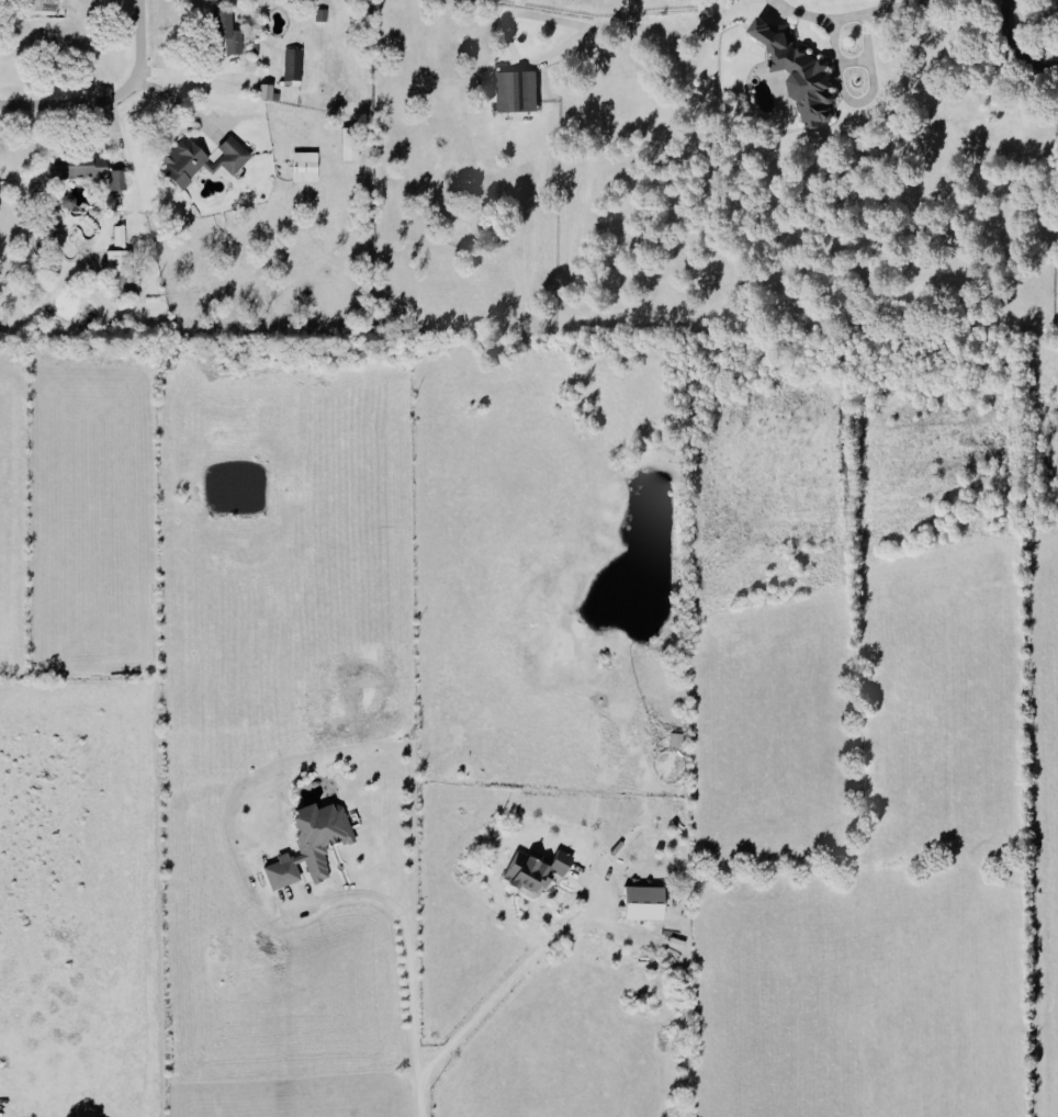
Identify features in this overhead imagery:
road: (893, 7)
road: (810, 14)
road: (638, 25)
building: (223, 31)
road: (1015, 47)
building: (291, 66)
building: (796, 72)
building: (516, 91)
building: (264, 92)
road: (112, 99)
building: (347, 150)
building: (200, 160)
building: (76, 167)
building: (302, 167)
building: (114, 180)
building: (116, 236)
building: (674, 740)
building: (307, 843)
building: (530, 871)
building: (639, 902)
road: (409, 971)
road: (500, 989)

